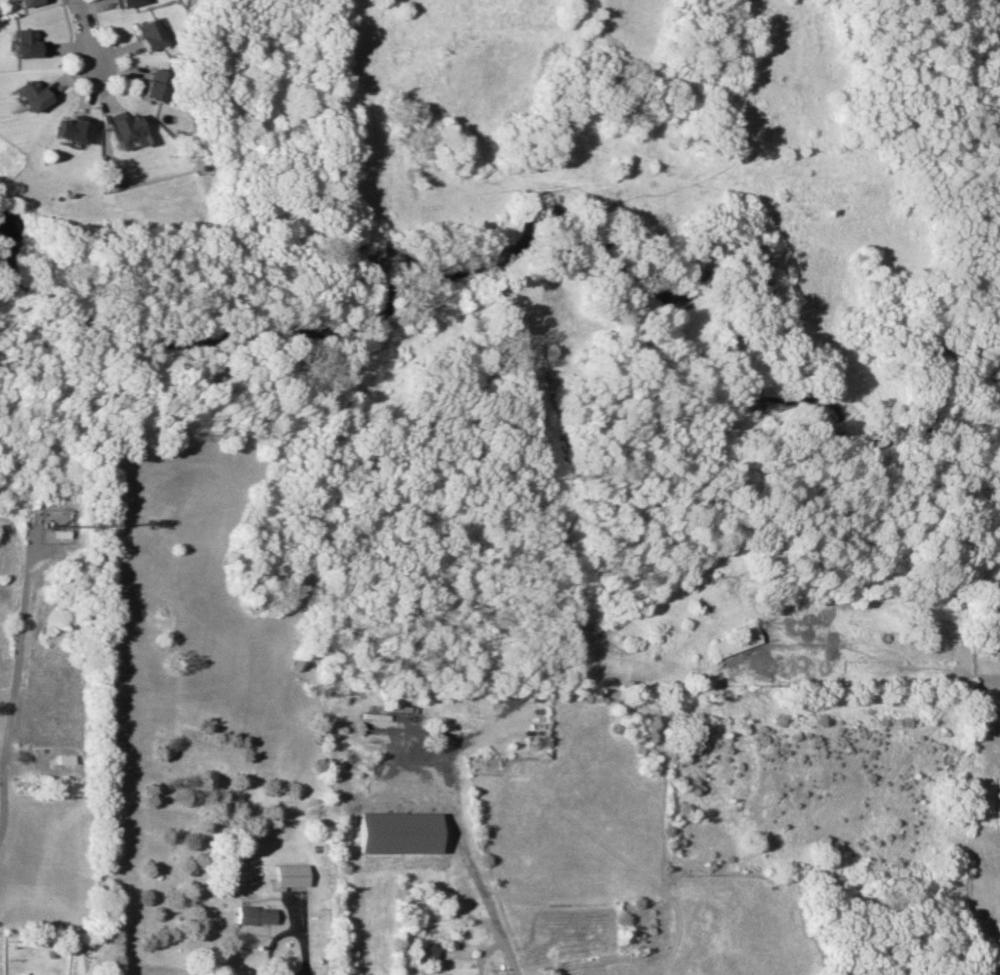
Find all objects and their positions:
building: (25, 2)
building: (123, 3)
road: (83, 32)
building: (145, 34)
building: (23, 43)
road: (116, 46)
road: (60, 60)
building: (150, 86)
building: (30, 95)
building: (120, 125)
building: (68, 129)
park: (186, 174)
river: (605, 248)
building: (735, 642)
road: (18, 658)
building: (394, 832)
road: (470, 858)
building: (287, 875)
building: (253, 914)
road: (281, 931)
building: (427, 951)

